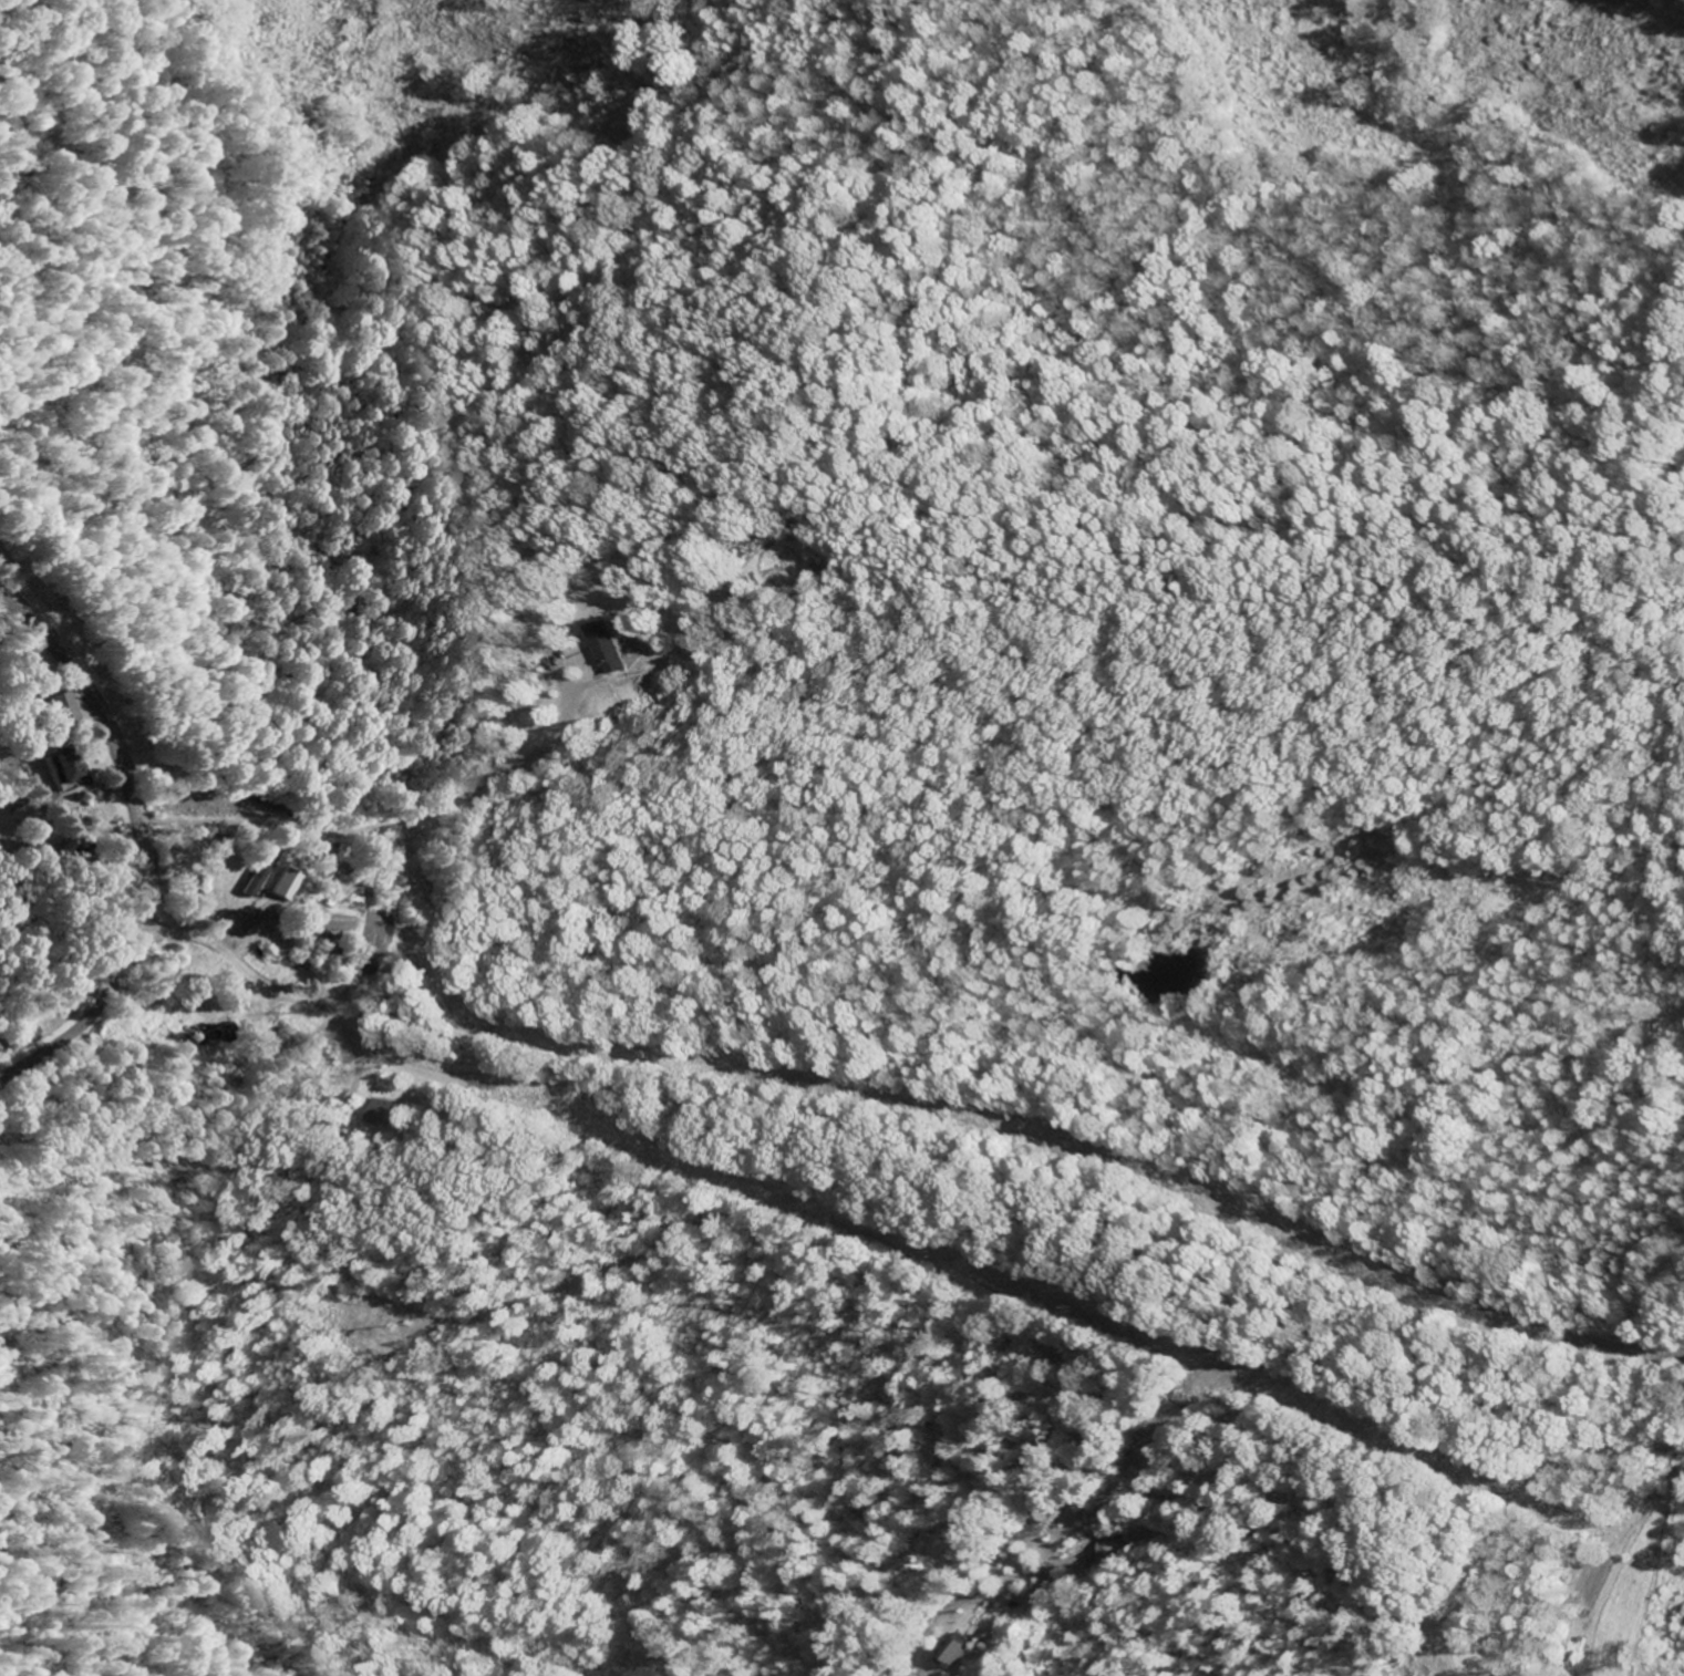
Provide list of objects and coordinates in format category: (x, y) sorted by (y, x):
building: (610, 650)
building: (61, 711)
building: (64, 768)
road: (397, 823)
road: (136, 847)
building: (254, 875)
building: (279, 887)
building: (380, 1115)
road: (967, 1291)
building: (952, 1652)

